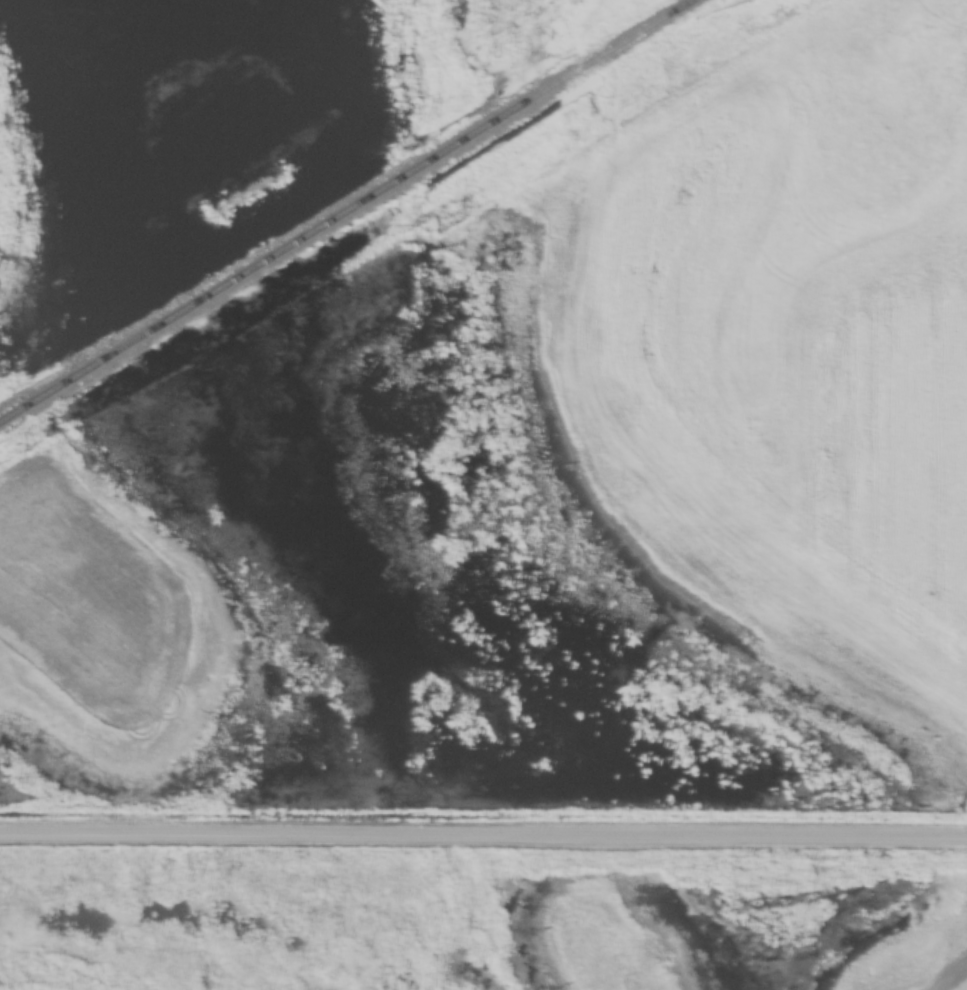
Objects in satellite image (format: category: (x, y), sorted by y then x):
railway: (349, 212)
road: (483, 833)

